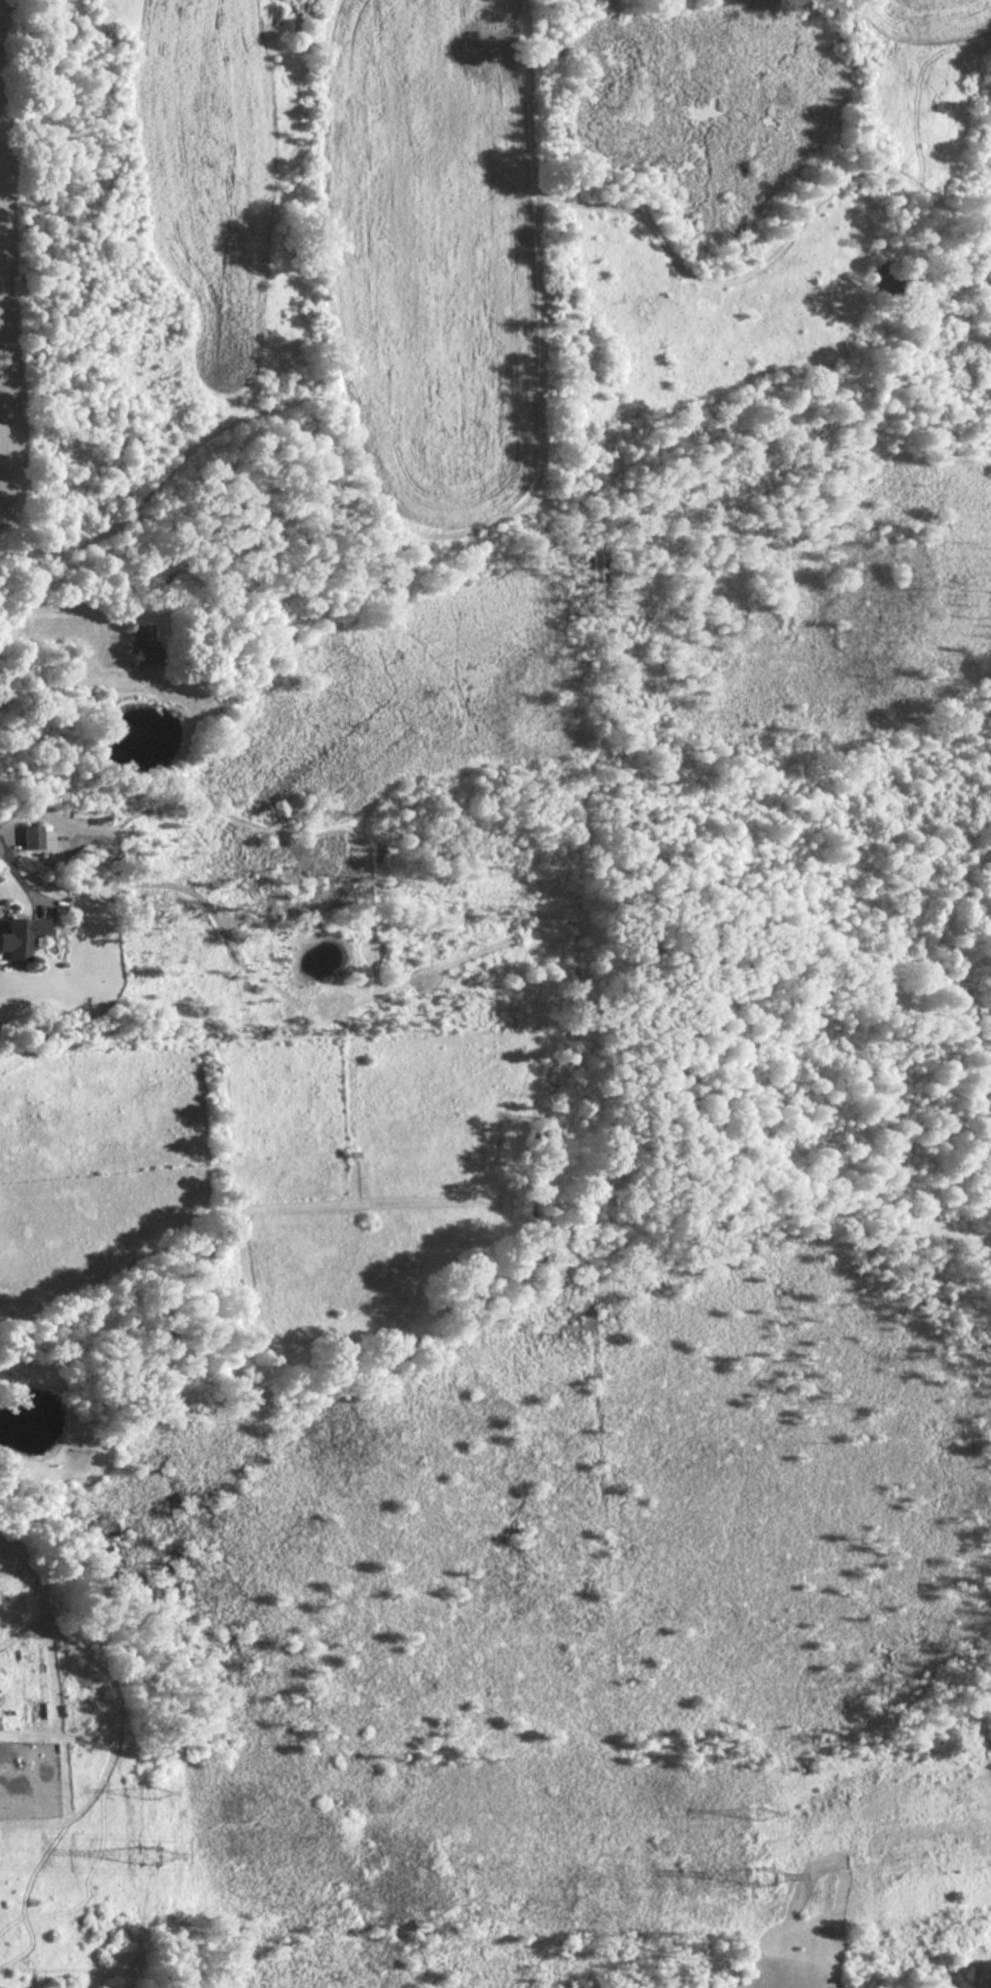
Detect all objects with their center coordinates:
building: (144, 644)
building: (218, 650)
road: (55, 679)
building: (37, 836)
road: (18, 873)
building: (21, 936)
power tower: (151, 1791)
power tower: (757, 1813)
power tower: (148, 1858)
power tower: (765, 1871)

